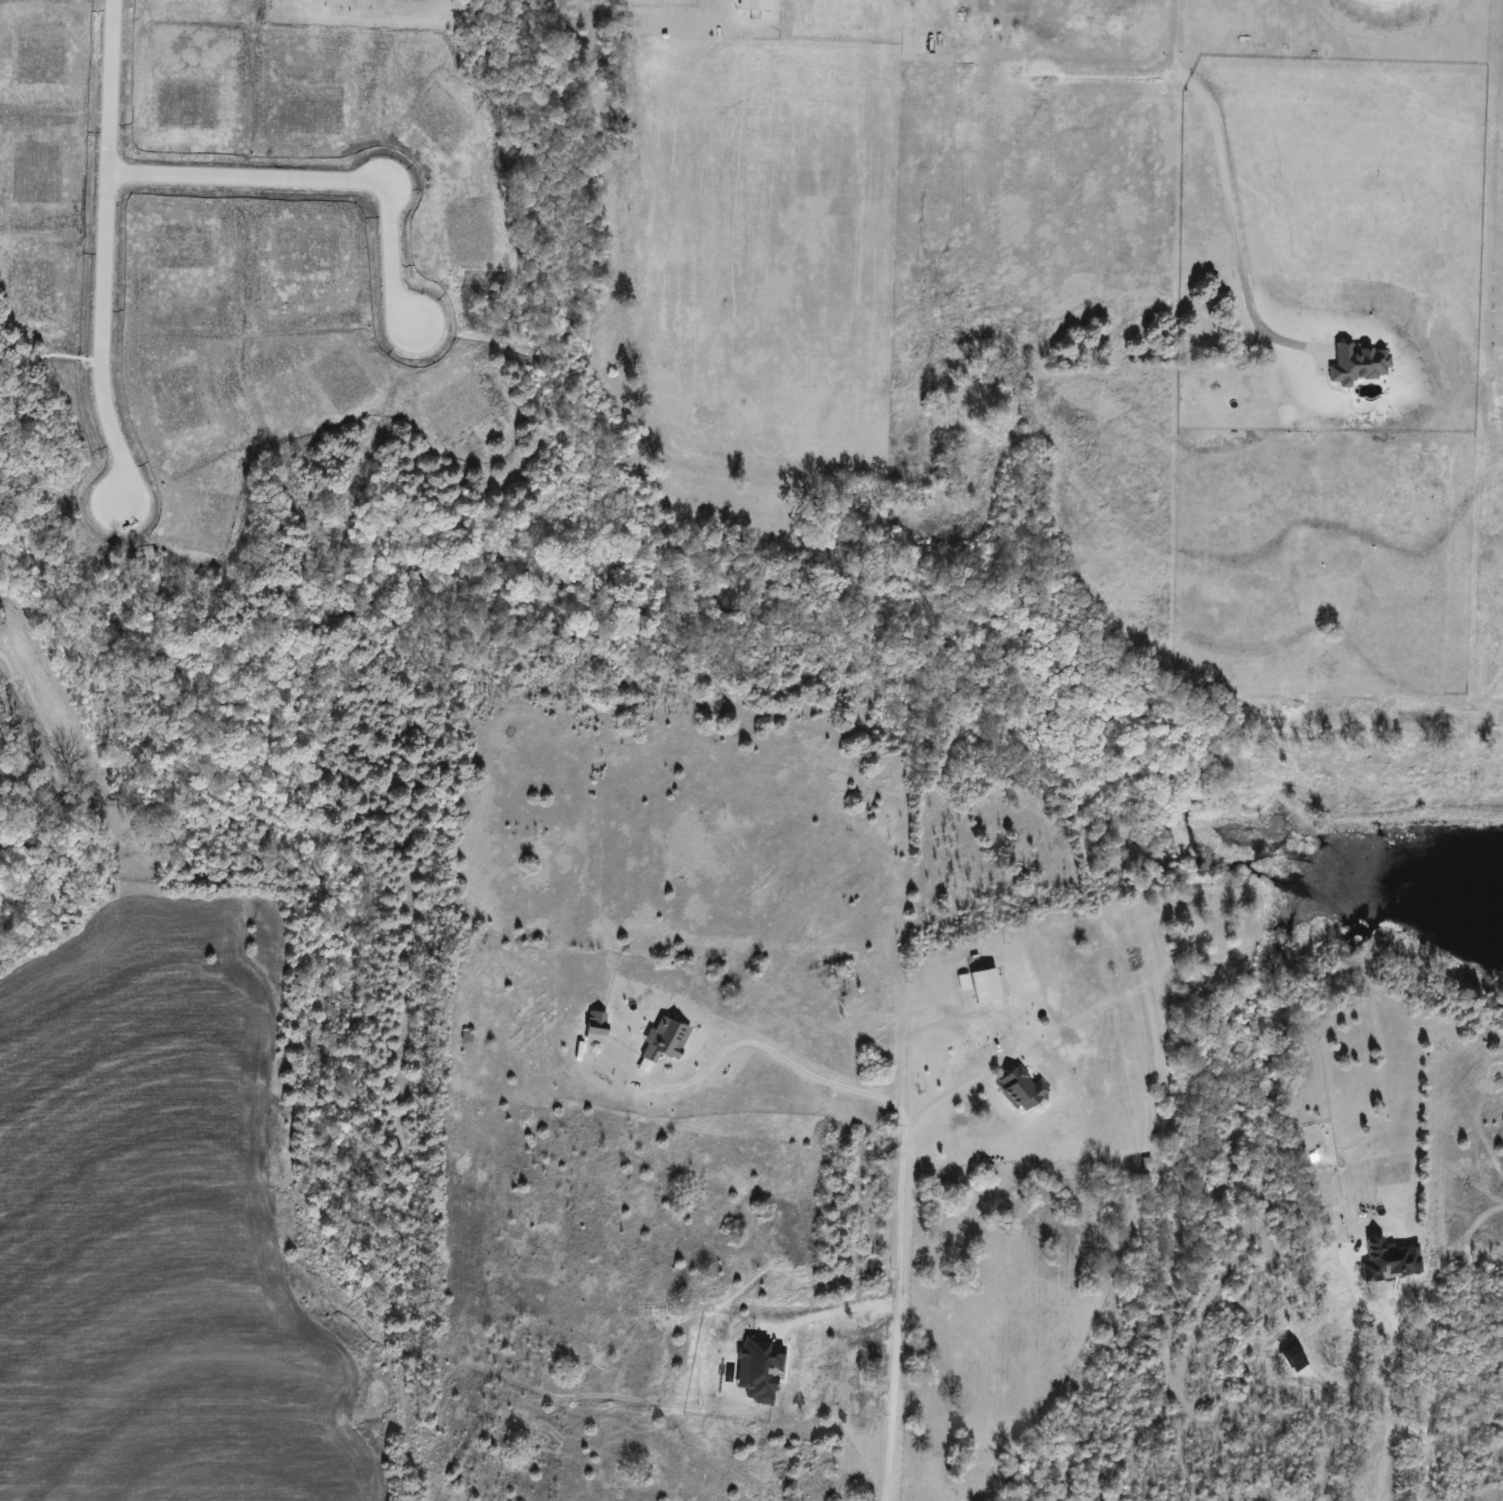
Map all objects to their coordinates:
building: (753, 5)
road: (1223, 183)
building: (983, 984)
building: (594, 1022)
building: (663, 1038)
road: (1006, 1046)
road: (765, 1050)
building: (1019, 1088)
road: (892, 1271)
road: (839, 1344)
road: (1390, 1362)

